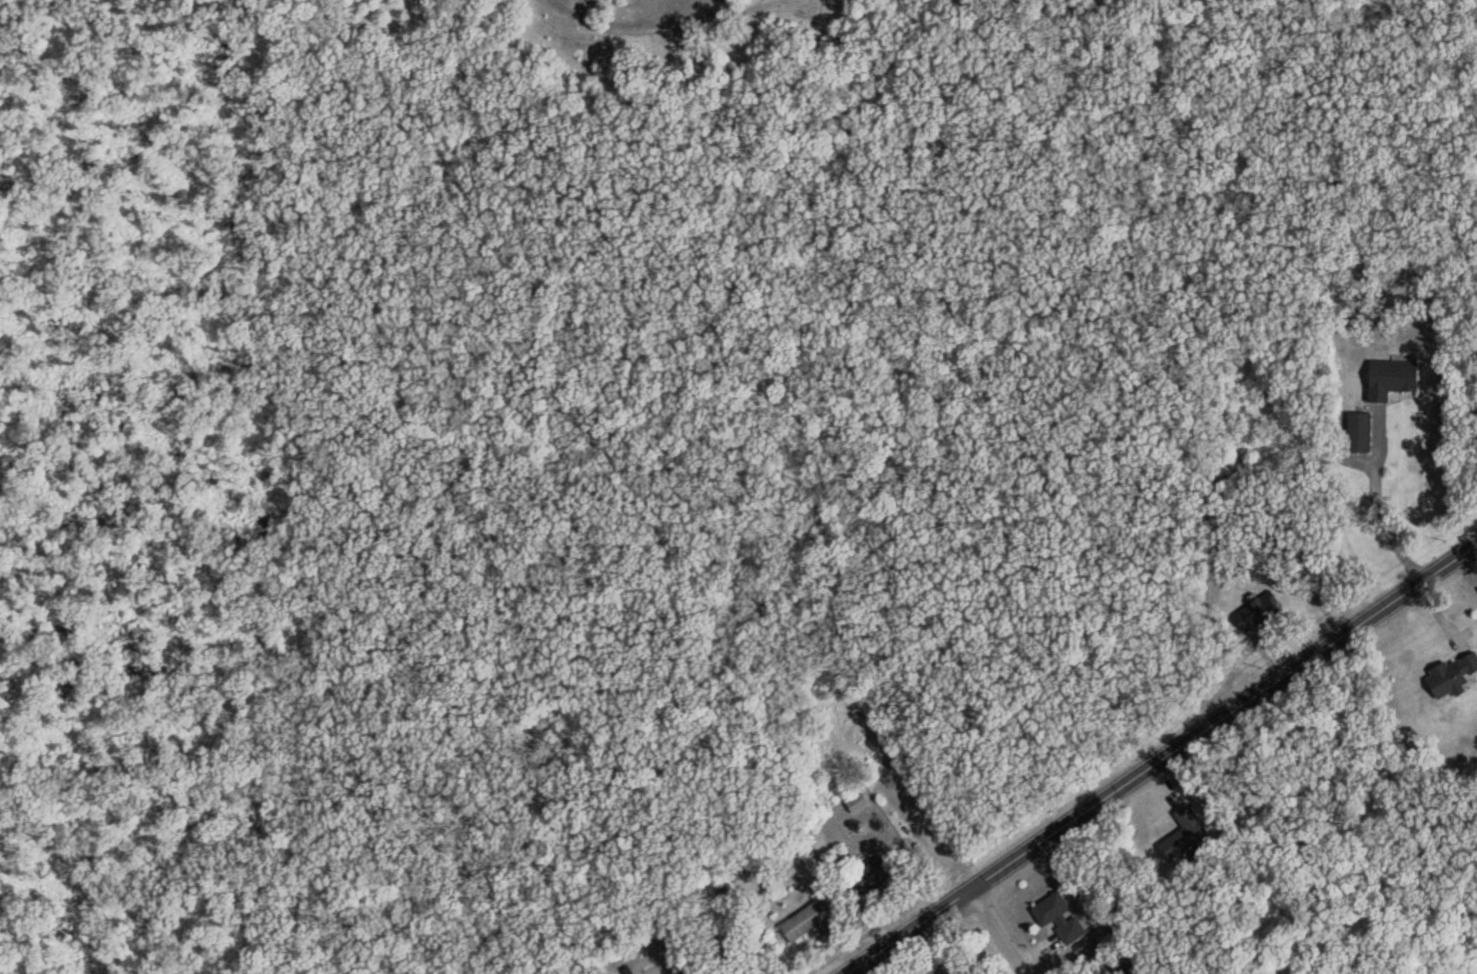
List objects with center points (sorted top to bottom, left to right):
building: (1392, 379)
building: (1359, 432)
road: (1386, 528)
building: (1256, 613)
building: (1453, 676)
road: (1162, 760)
building: (856, 803)
building: (1184, 834)
building: (874, 875)
building: (1059, 918)
building: (804, 922)
road: (998, 933)

